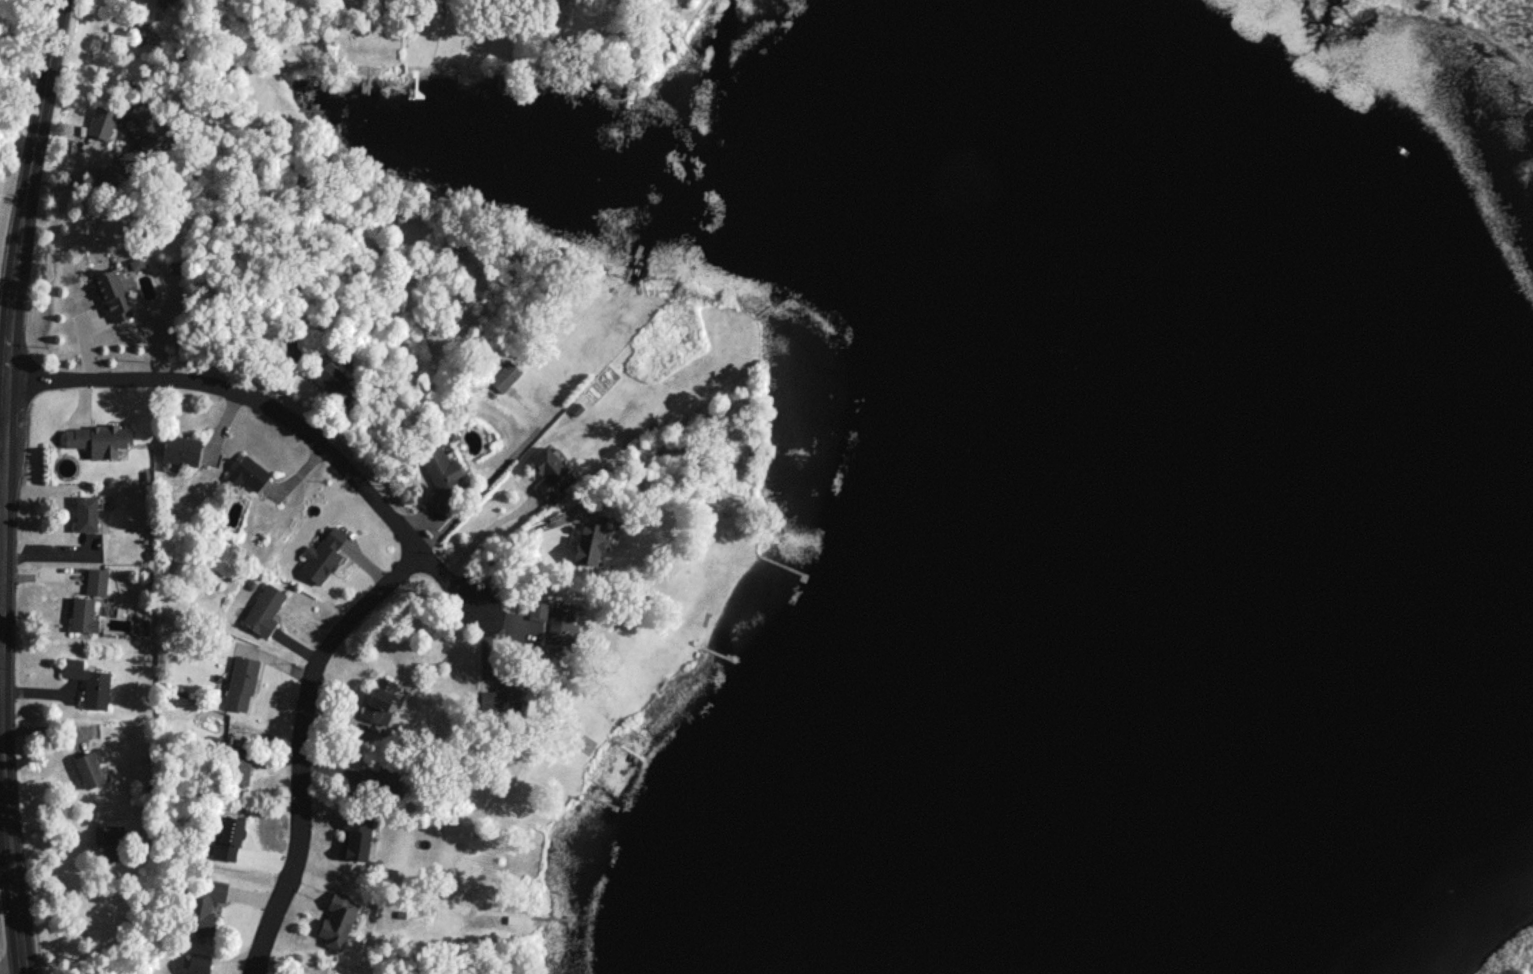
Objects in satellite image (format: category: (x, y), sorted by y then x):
building: (160, 1)
building: (101, 122)
building: (140, 133)
building: (136, 262)
building: (331, 376)
building: (505, 376)
road: (287, 419)
road: (2, 437)
building: (99, 439)
building: (181, 449)
building: (247, 472)
building: (551, 473)
building: (441, 475)
road: (3, 485)
building: (86, 513)
road: (480, 535)
building: (591, 541)
road: (507, 545)
building: (322, 555)
building: (96, 581)
building: (264, 610)
building: (537, 610)
building: (83, 614)
building: (562, 625)
building: (89, 683)
building: (241, 683)
building: (503, 695)
building: (379, 700)
road: (299, 744)
building: (238, 768)
building: (89, 769)
building: (229, 835)
building: (110, 841)
building: (203, 905)
building: (337, 920)
building: (198, 964)

